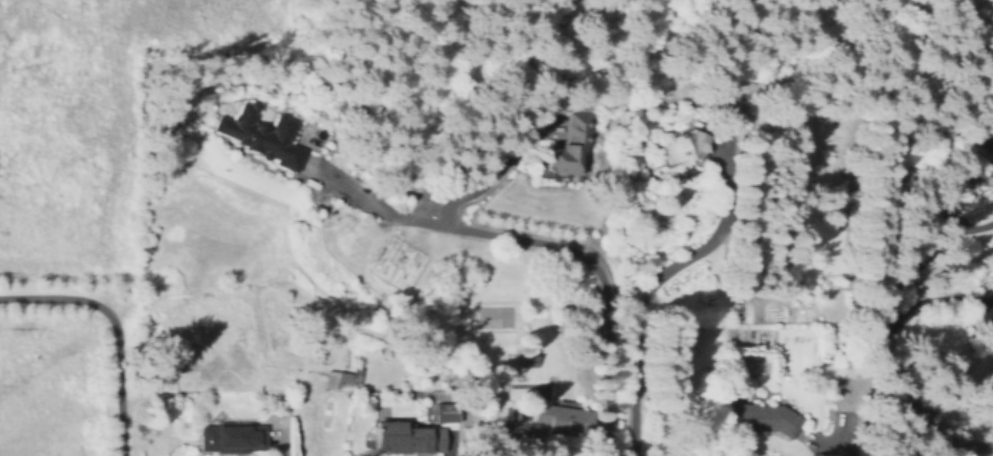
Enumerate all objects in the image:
building: (637, 111)
building: (262, 135)
building: (989, 140)
building: (571, 144)
building: (683, 146)
road: (486, 179)
road: (712, 237)
road: (580, 258)
road: (928, 300)
road: (878, 323)
road: (115, 327)
building: (530, 362)
building: (344, 380)
building: (444, 413)
building: (765, 418)
building: (565, 419)
building: (411, 435)
road: (522, 437)
building: (233, 439)
road: (969, 449)

